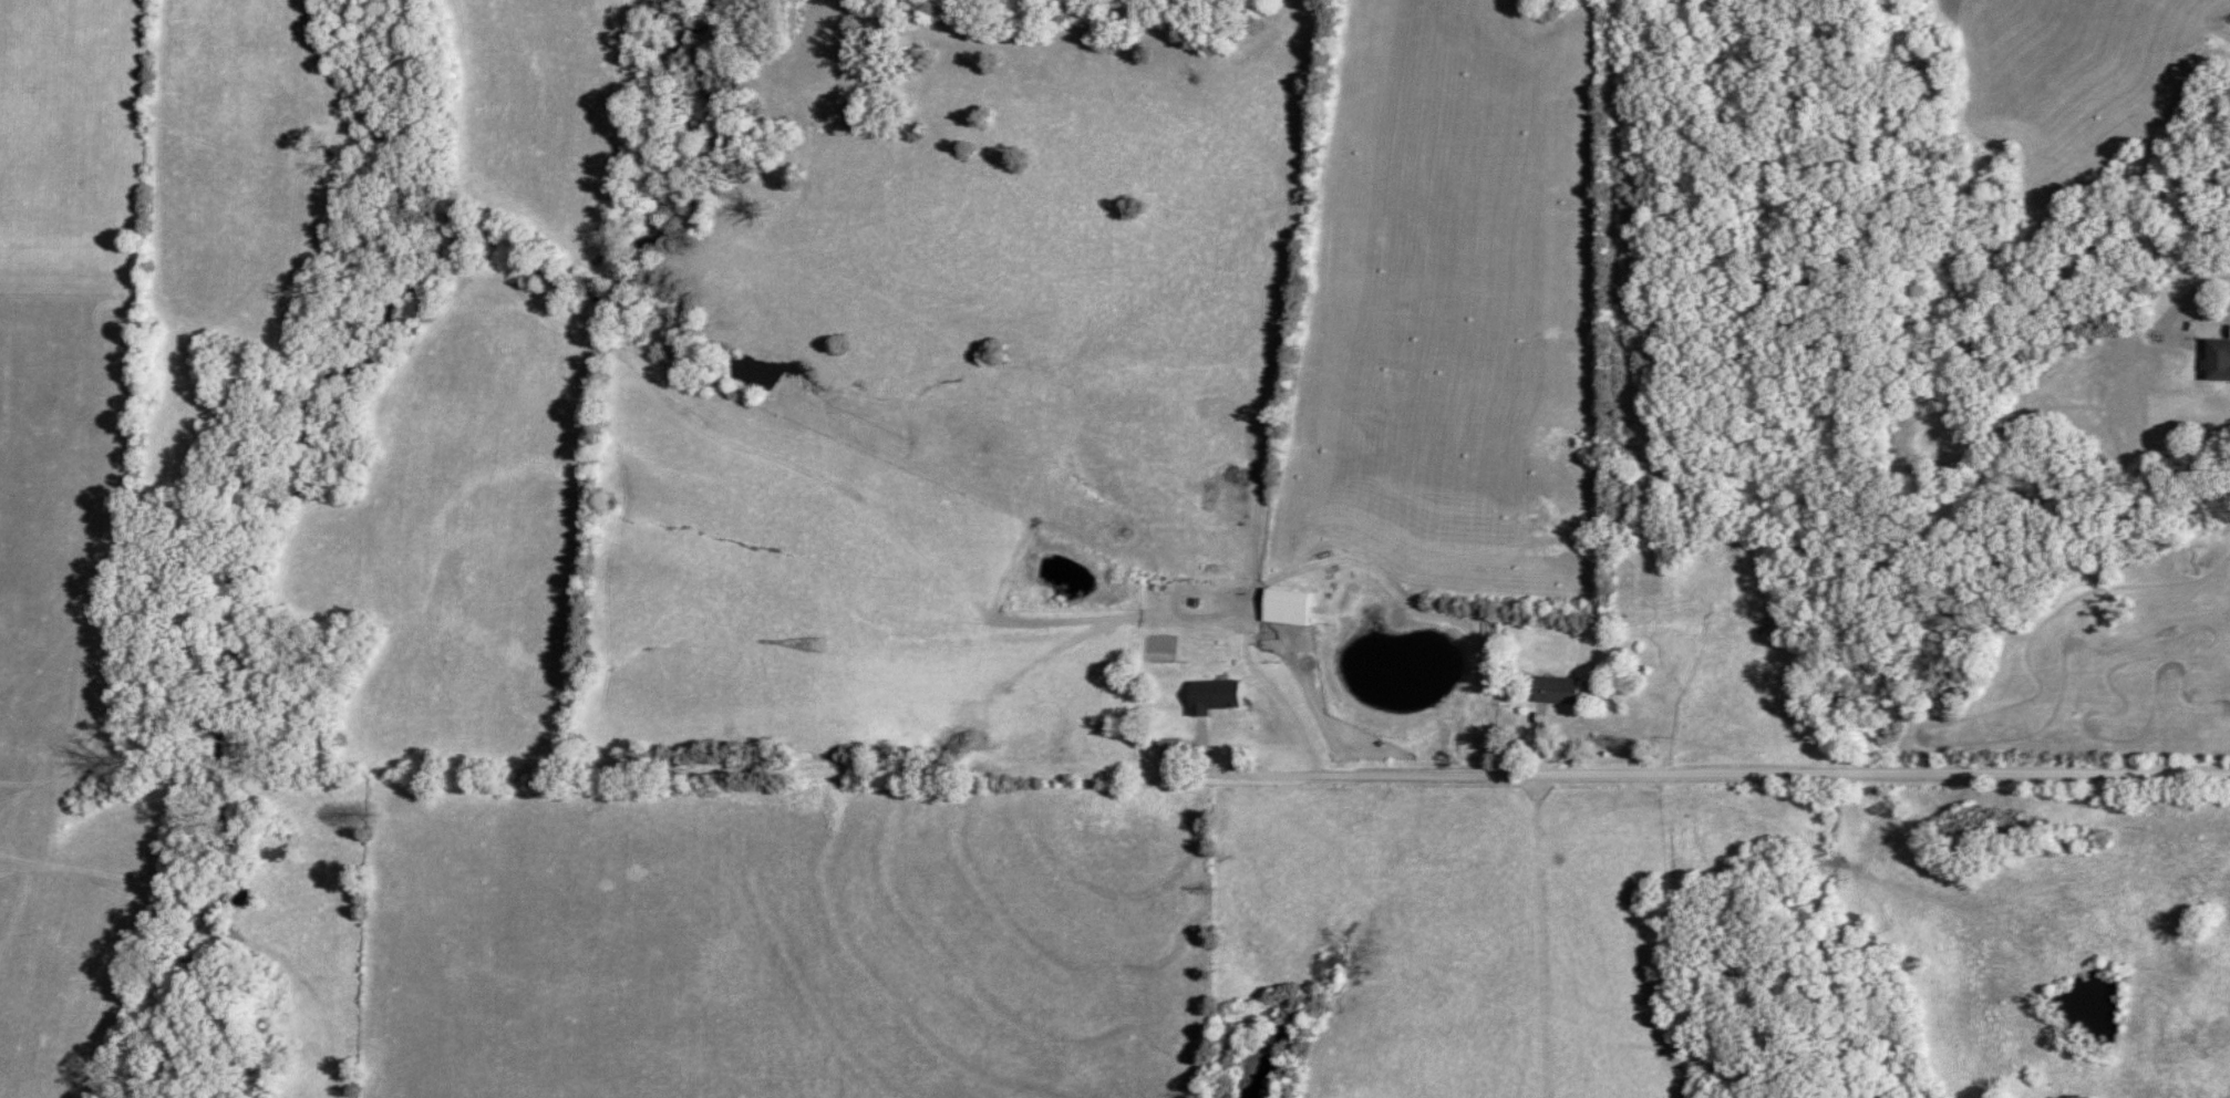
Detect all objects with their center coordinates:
building: (2220, 361)
building: (1289, 609)
power tower: (813, 645)
road: (1272, 691)
building: (1559, 692)
building: (1217, 698)
road: (1658, 701)
road: (1773, 773)
road: (1240, 778)

